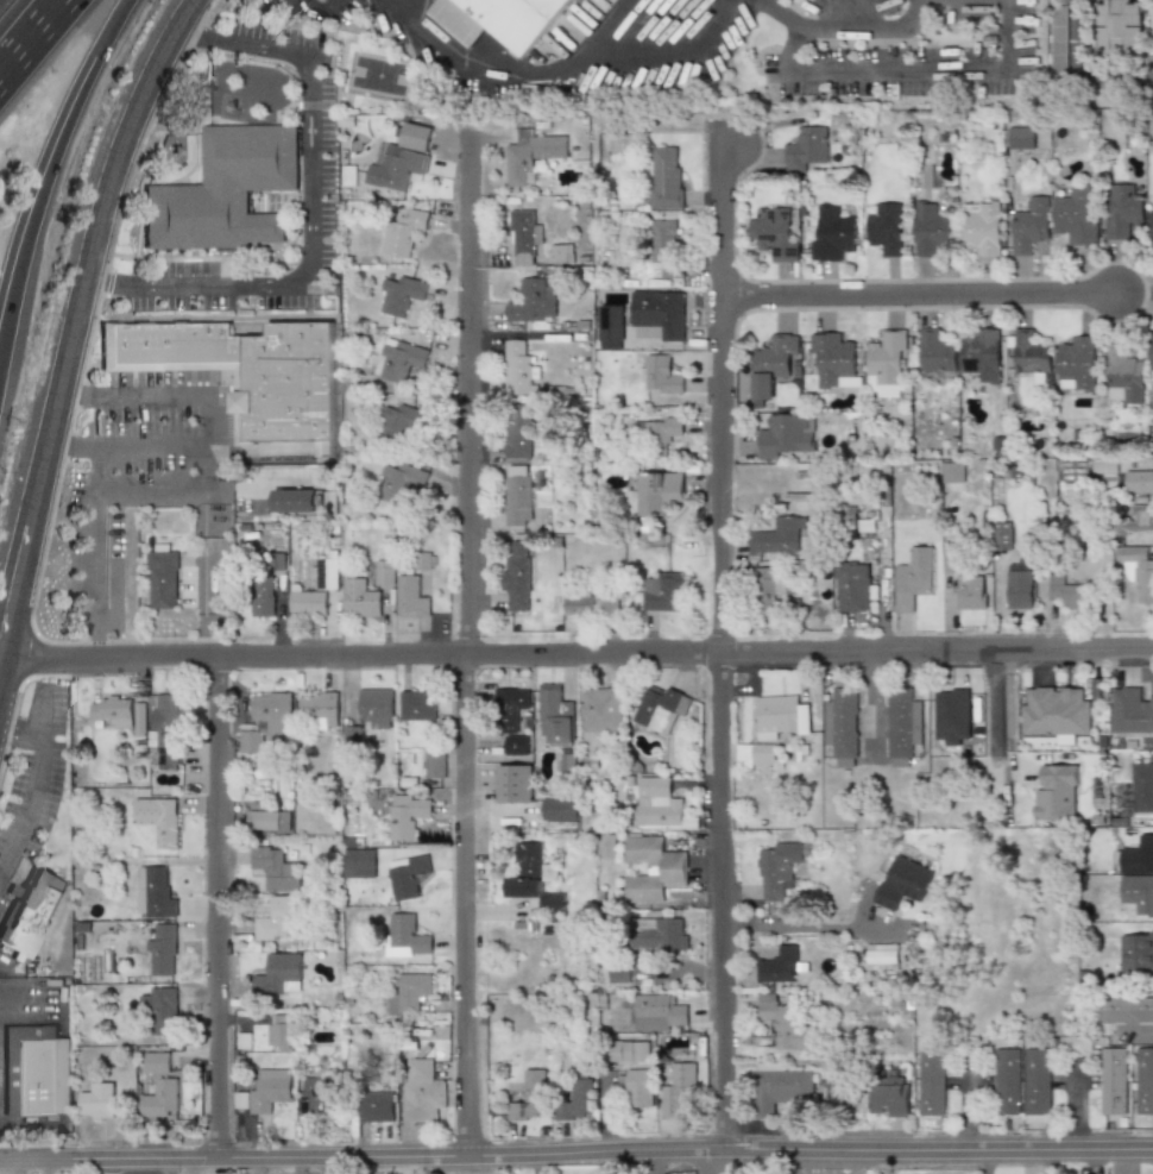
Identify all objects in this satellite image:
building: (575, 1)
road: (403, 5)
road: (320, 13)
road: (780, 13)
road: (836, 13)
building: (502, 18)
road: (100, 24)
road: (604, 25)
road: (865, 29)
building: (1120, 29)
road: (29, 34)
building: (1058, 39)
road: (911, 70)
road: (557, 73)
road: (1080, 76)
building: (1022, 138)
building: (806, 149)
building: (530, 156)
building: (402, 158)
building: (666, 177)
building: (226, 189)
road: (36, 208)
building: (1122, 211)
road: (313, 213)
building: (1077, 215)
building: (1031, 225)
building: (982, 226)
building: (886, 230)
building: (931, 230)
building: (1151, 230)
building: (402, 232)
building: (774, 232)
building: (833, 236)
building: (523, 237)
building: (666, 246)
building: (560, 253)
road: (918, 294)
building: (399, 295)
building: (530, 302)
building: (657, 313)
building: (610, 322)
road: (77, 334)
building: (935, 352)
building: (1031, 354)
building: (981, 356)
building: (1151, 358)
building: (399, 360)
building: (833, 360)
building: (771, 363)
building: (887, 363)
building: (1076, 364)
building: (517, 369)
building: (248, 372)
building: (660, 376)
building: (1123, 377)
road: (202, 423)
building: (397, 425)
building: (517, 432)
building: (662, 432)
building: (787, 434)
building: (1102, 466)
building: (952, 476)
building: (1138, 482)
building: (393, 485)
building: (660, 492)
road: (150, 494)
building: (518, 496)
building: (295, 501)
building: (1138, 519)
building: (779, 535)
building: (1002, 536)
building: (423, 561)
building: (947, 563)
building: (384, 572)
building: (1138, 572)
building: (326, 573)
road: (94, 577)
building: (913, 577)
building: (162, 578)
building: (516, 578)
building: (771, 586)
building: (852, 586)
building: (1019, 590)
building: (661, 591)
building: (970, 591)
building: (1065, 592)
building: (263, 597)
building: (411, 597)
building: (360, 598)
road: (209, 603)
building: (308, 603)
building: (591, 604)
road: (719, 647)
road: (467, 649)
road: (579, 654)
building: (416, 704)
building: (511, 704)
building: (377, 707)
building: (168, 708)
building: (319, 708)
building: (663, 708)
building: (604, 709)
building: (112, 711)
building: (1054, 711)
building: (1130, 711)
building: (556, 714)
road: (995, 714)
building: (780, 716)
building: (139, 718)
building: (266, 721)
building: (842, 726)
building: (902, 726)
road: (20, 733)
building: (352, 735)
building: (515, 745)
building: (756, 755)
building: (435, 762)
road: (36, 783)
building: (514, 784)
building: (1141, 786)
building: (1056, 792)
building: (656, 802)
building: (559, 810)
building: (407, 815)
building: (156, 821)
building: (269, 821)
building: (605, 846)
building: (358, 862)
building: (276, 867)
building: (654, 867)
building: (777, 869)
building: (1138, 874)
building: (408, 875)
building: (534, 878)
building: (901, 881)
building: (153, 893)
road: (216, 909)
building: (33, 916)
building: (275, 919)
road: (802, 927)
building: (659, 934)
building: (404, 936)
building: (1136, 949)
building: (162, 952)
building: (881, 958)
building: (780, 965)
building: (277, 974)
building: (617, 975)
building: (410, 993)
building: (160, 1009)
building: (1124, 1010)
building: (657, 1012)
building: (782, 1023)
building: (278, 1030)
building: (625, 1050)
building: (156, 1062)
building: (1006, 1081)
building: (1037, 1081)
building: (1113, 1081)
building: (1143, 1081)
building: (36, 1082)
building: (931, 1082)
building: (779, 1086)
building: (636, 1087)
building: (269, 1088)
building: (676, 1091)
building: (315, 1092)
building: (421, 1092)
building: (158, 1099)
building: (888, 1099)
building: (575, 1100)
building: (96, 1101)
building: (527, 1101)
building: (376, 1106)
road: (576, 1155)
road: (811, 1163)
road: (844, 1163)
road: (714, 1164)
road: (297, 1166)

